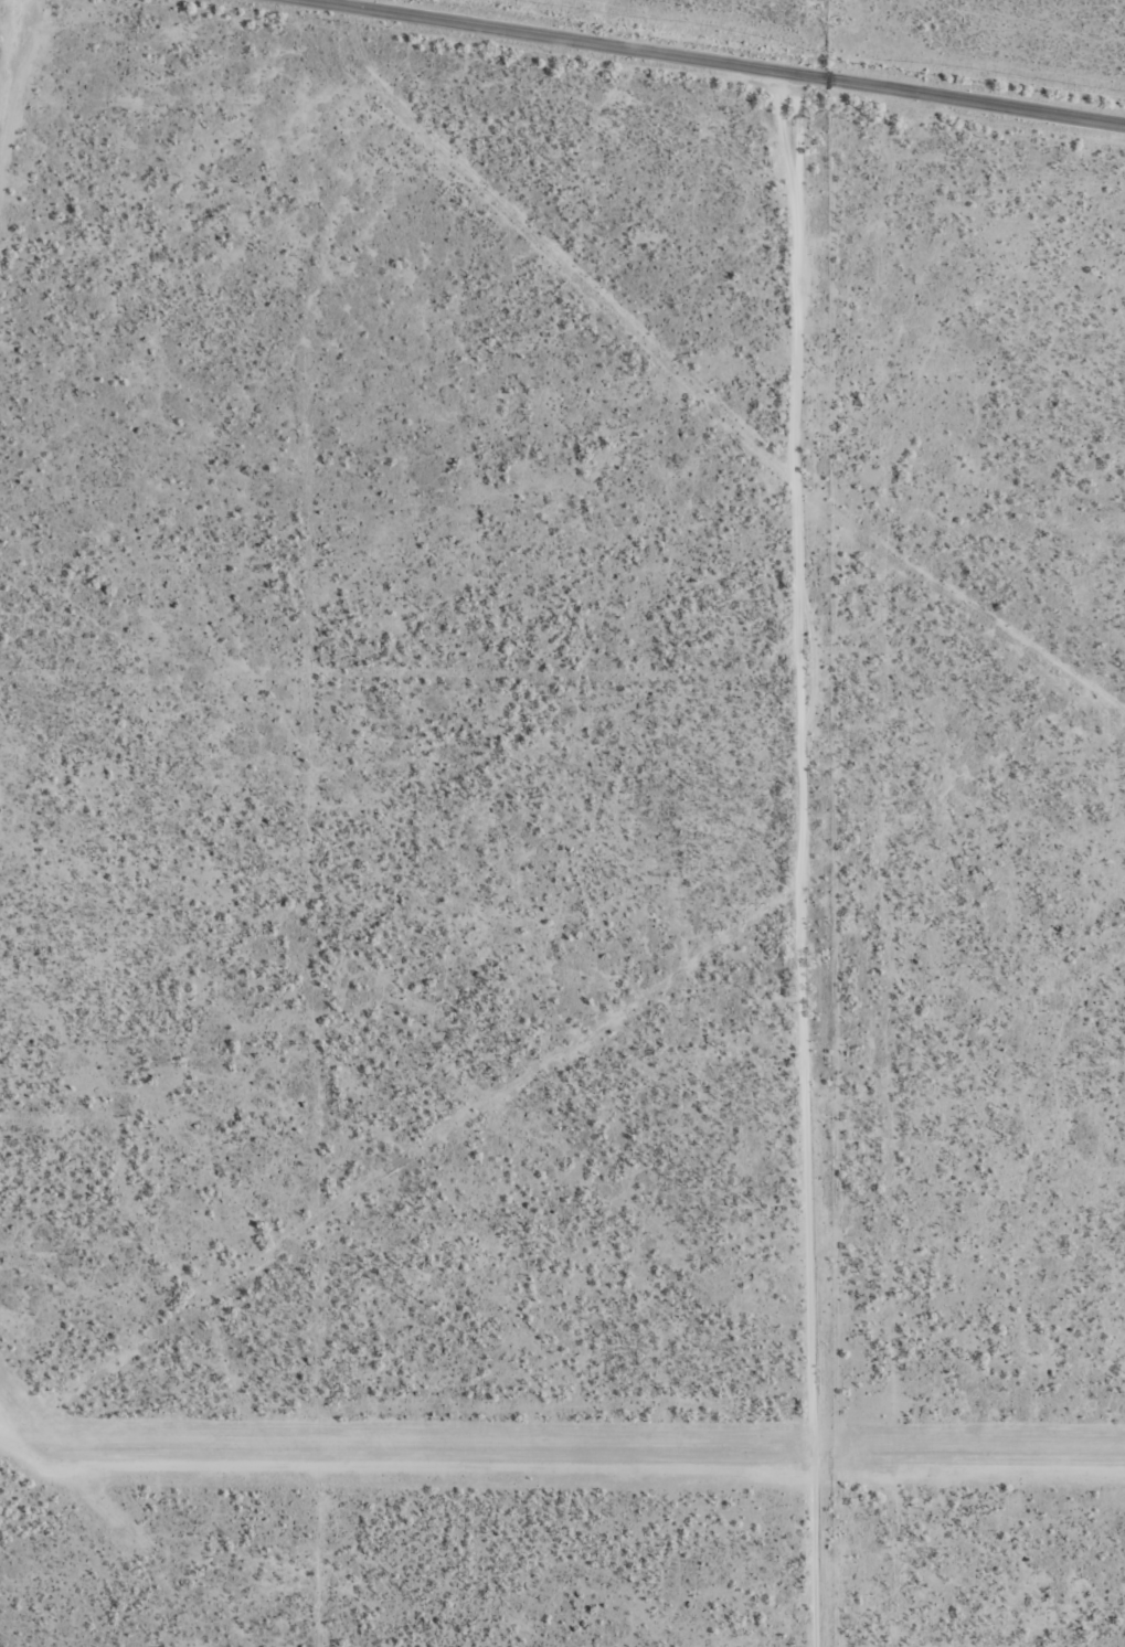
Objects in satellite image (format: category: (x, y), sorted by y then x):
road: (745, 62)
road: (811, 865)

